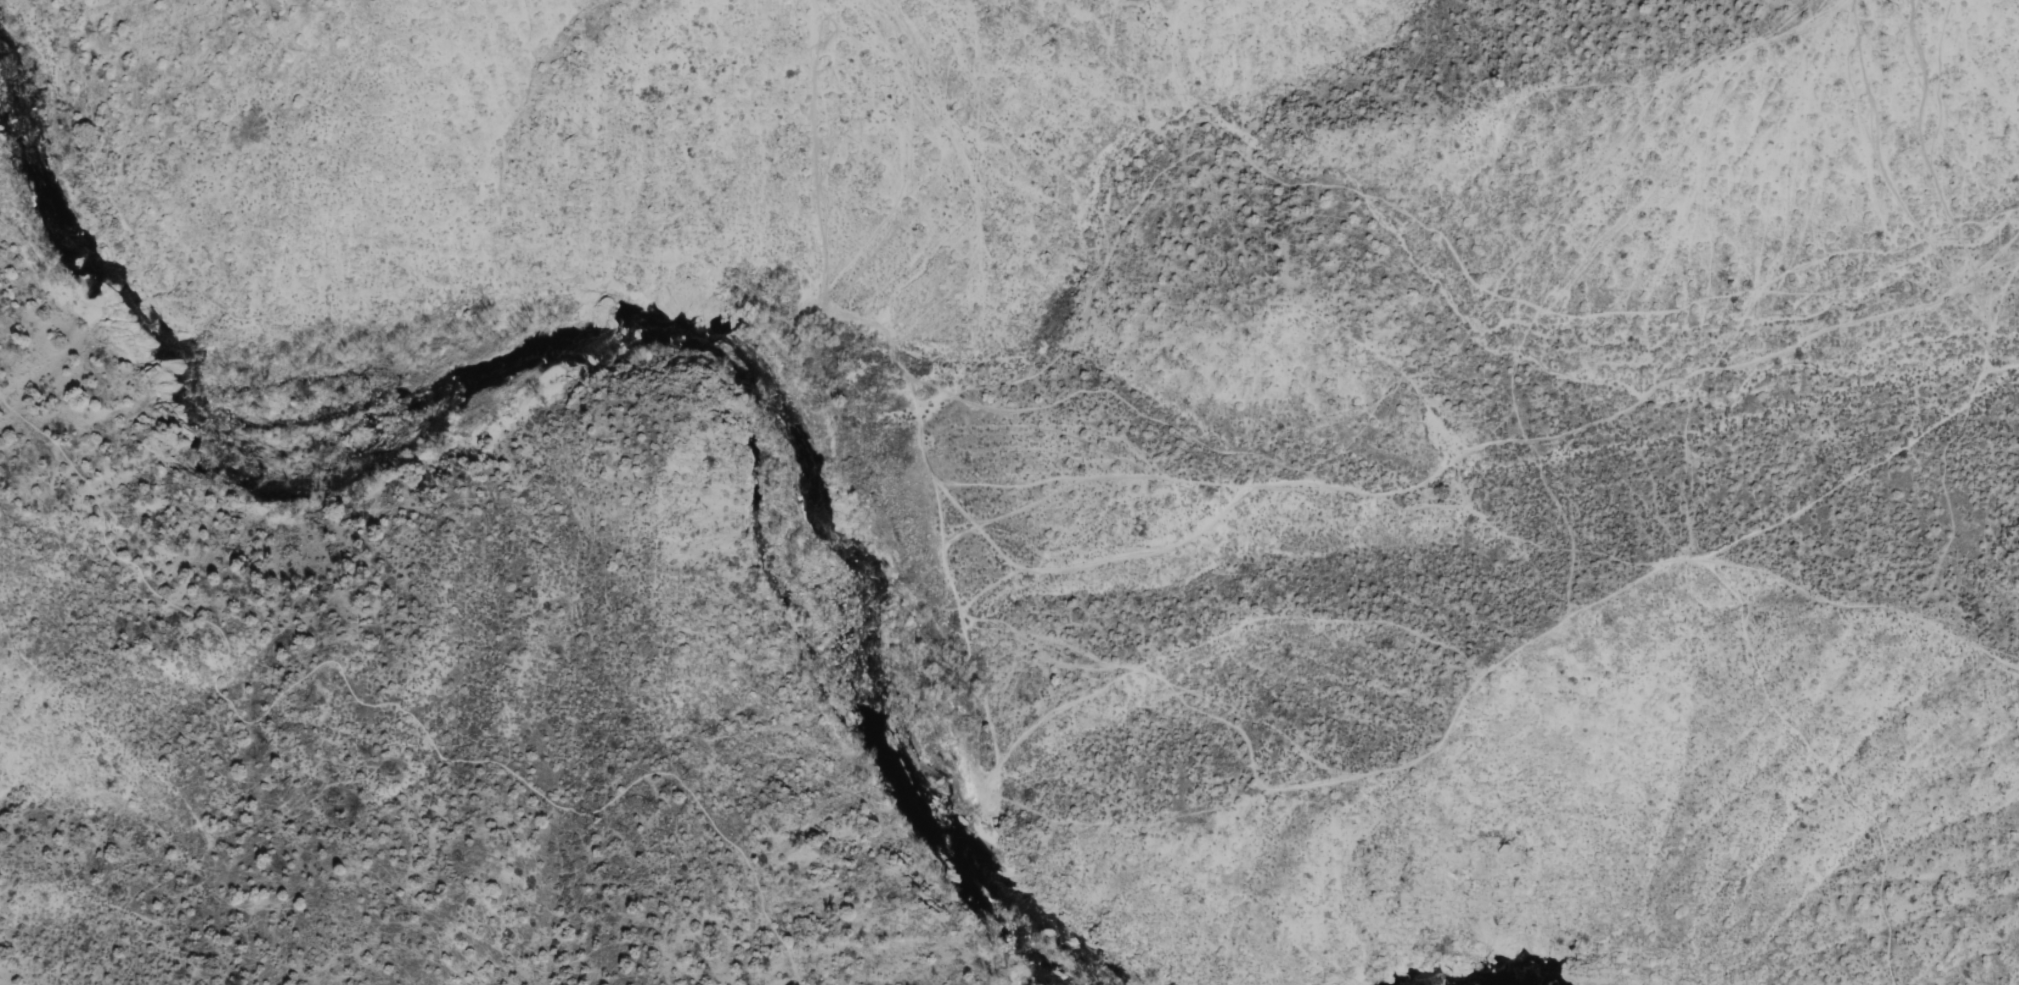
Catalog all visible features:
road: (1414, 225)
road: (693, 261)
road: (1989, 264)
road: (1705, 374)
road: (1138, 416)
road: (1091, 480)
road: (1012, 513)
road: (1149, 553)
road: (1866, 604)
road: (1482, 685)
road: (371, 699)

